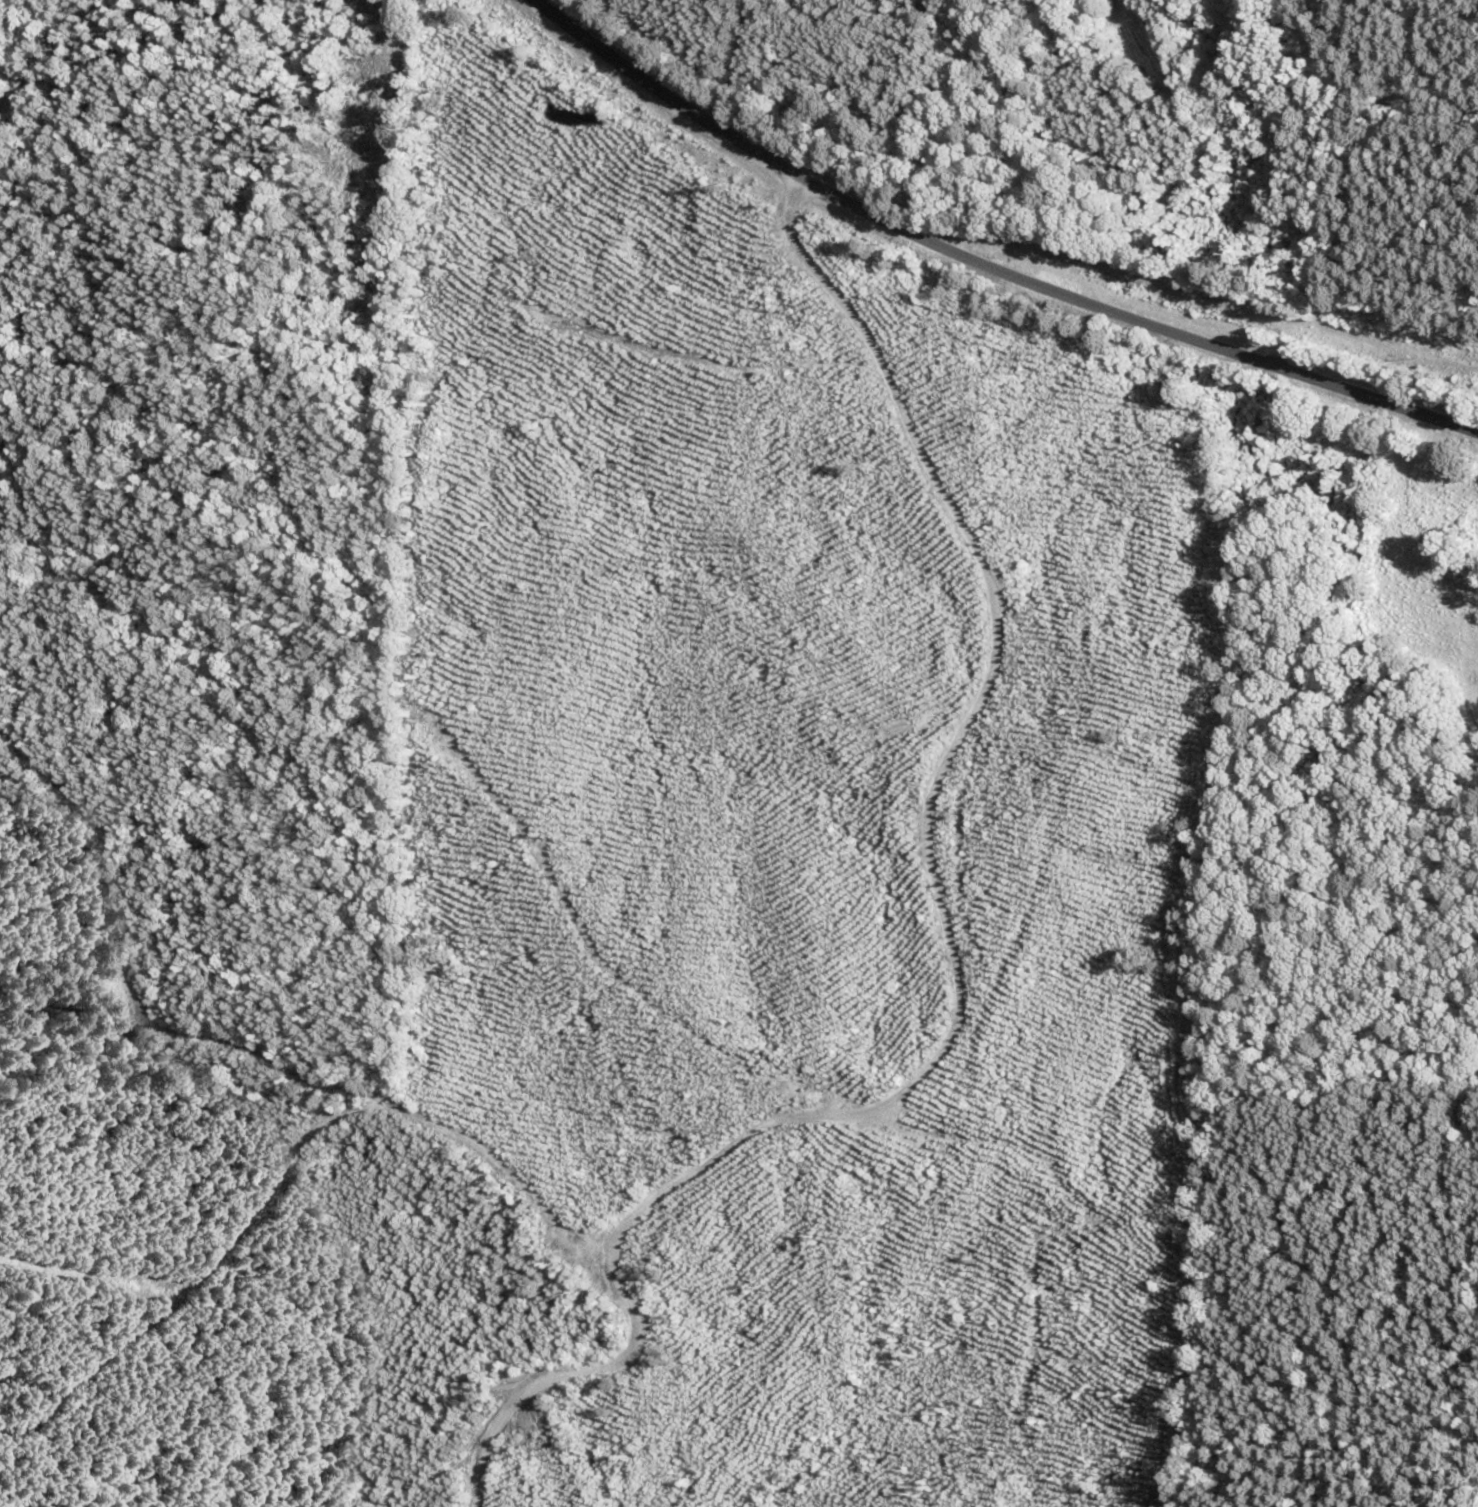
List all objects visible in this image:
road: (1175, 165)
road: (982, 265)
road: (962, 953)
road: (305, 1110)

